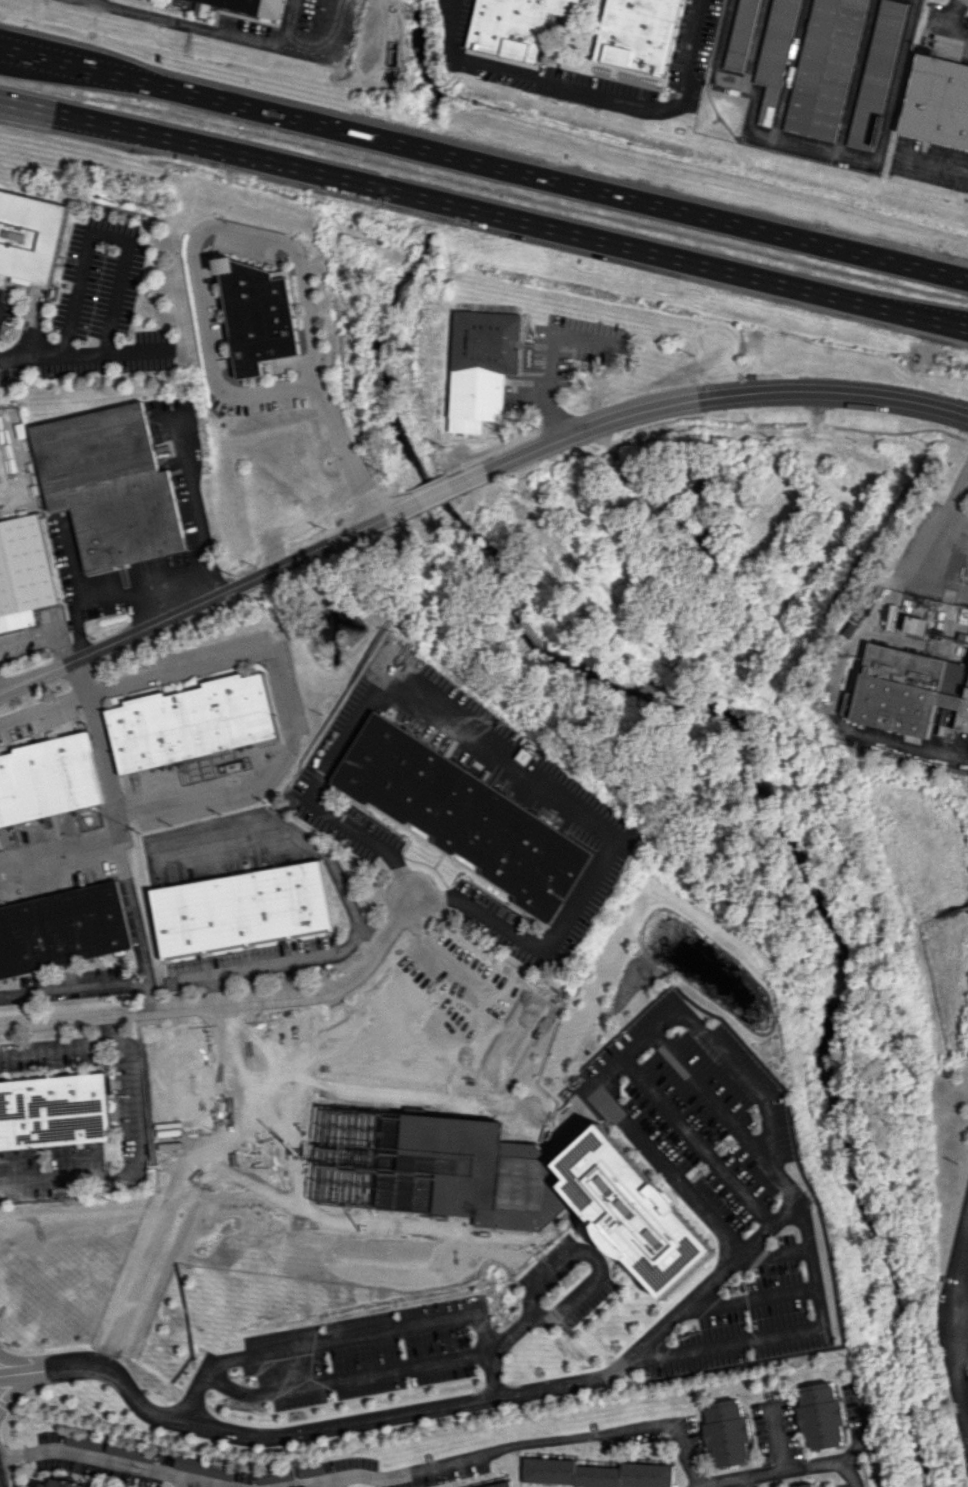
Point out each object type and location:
building: (253, 5)
building: (205, 10)
road: (288, 21)
road: (954, 21)
building: (516, 25)
road: (233, 32)
building: (638, 34)
building: (741, 34)
building: (775, 56)
building: (824, 68)
building: (875, 74)
road: (591, 92)
building: (936, 102)
road: (811, 146)
road: (484, 160)
road: (931, 162)
road: (483, 217)
road: (101, 234)
building: (29, 236)
road: (257, 236)
building: (257, 314)
road: (79, 353)
road: (549, 360)
building: (481, 367)
road: (717, 394)
building: (108, 485)
road: (959, 487)
road: (439, 489)
road: (959, 510)
road: (935, 541)
road: (916, 565)
building: (22, 572)
road: (190, 574)
road: (207, 582)
road: (201, 599)
building: (916, 625)
road: (42, 633)
road: (272, 655)
building: (834, 669)
building: (909, 690)
road: (834, 713)
building: (191, 722)
road: (100, 748)
road: (502, 762)
building: (46, 781)
building: (467, 817)
road: (301, 841)
road: (118, 870)
building: (239, 908)
building: (61, 930)
road: (258, 965)
road: (395, 968)
road: (73, 989)
road: (210, 989)
road: (231, 1002)
road: (117, 1026)
building: (423, 1032)
road: (704, 1032)
building: (241, 1089)
building: (52, 1111)
road: (135, 1111)
road: (697, 1141)
building: (631, 1211)
road: (769, 1224)
road: (352, 1335)
road: (957, 1339)
road: (407, 1367)
building: (821, 1416)
road: (314, 1428)
road: (866, 1430)
building: (726, 1432)
road: (507, 1445)
road: (124, 1461)
building: (203, 1468)
road: (780, 1470)
building: (594, 1474)
road: (185, 1480)
road: (753, 1480)
road: (330, 1483)
building: (62, 1484)
building: (499, 1484)
road: (693, 1485)
building: (803, 1485)

